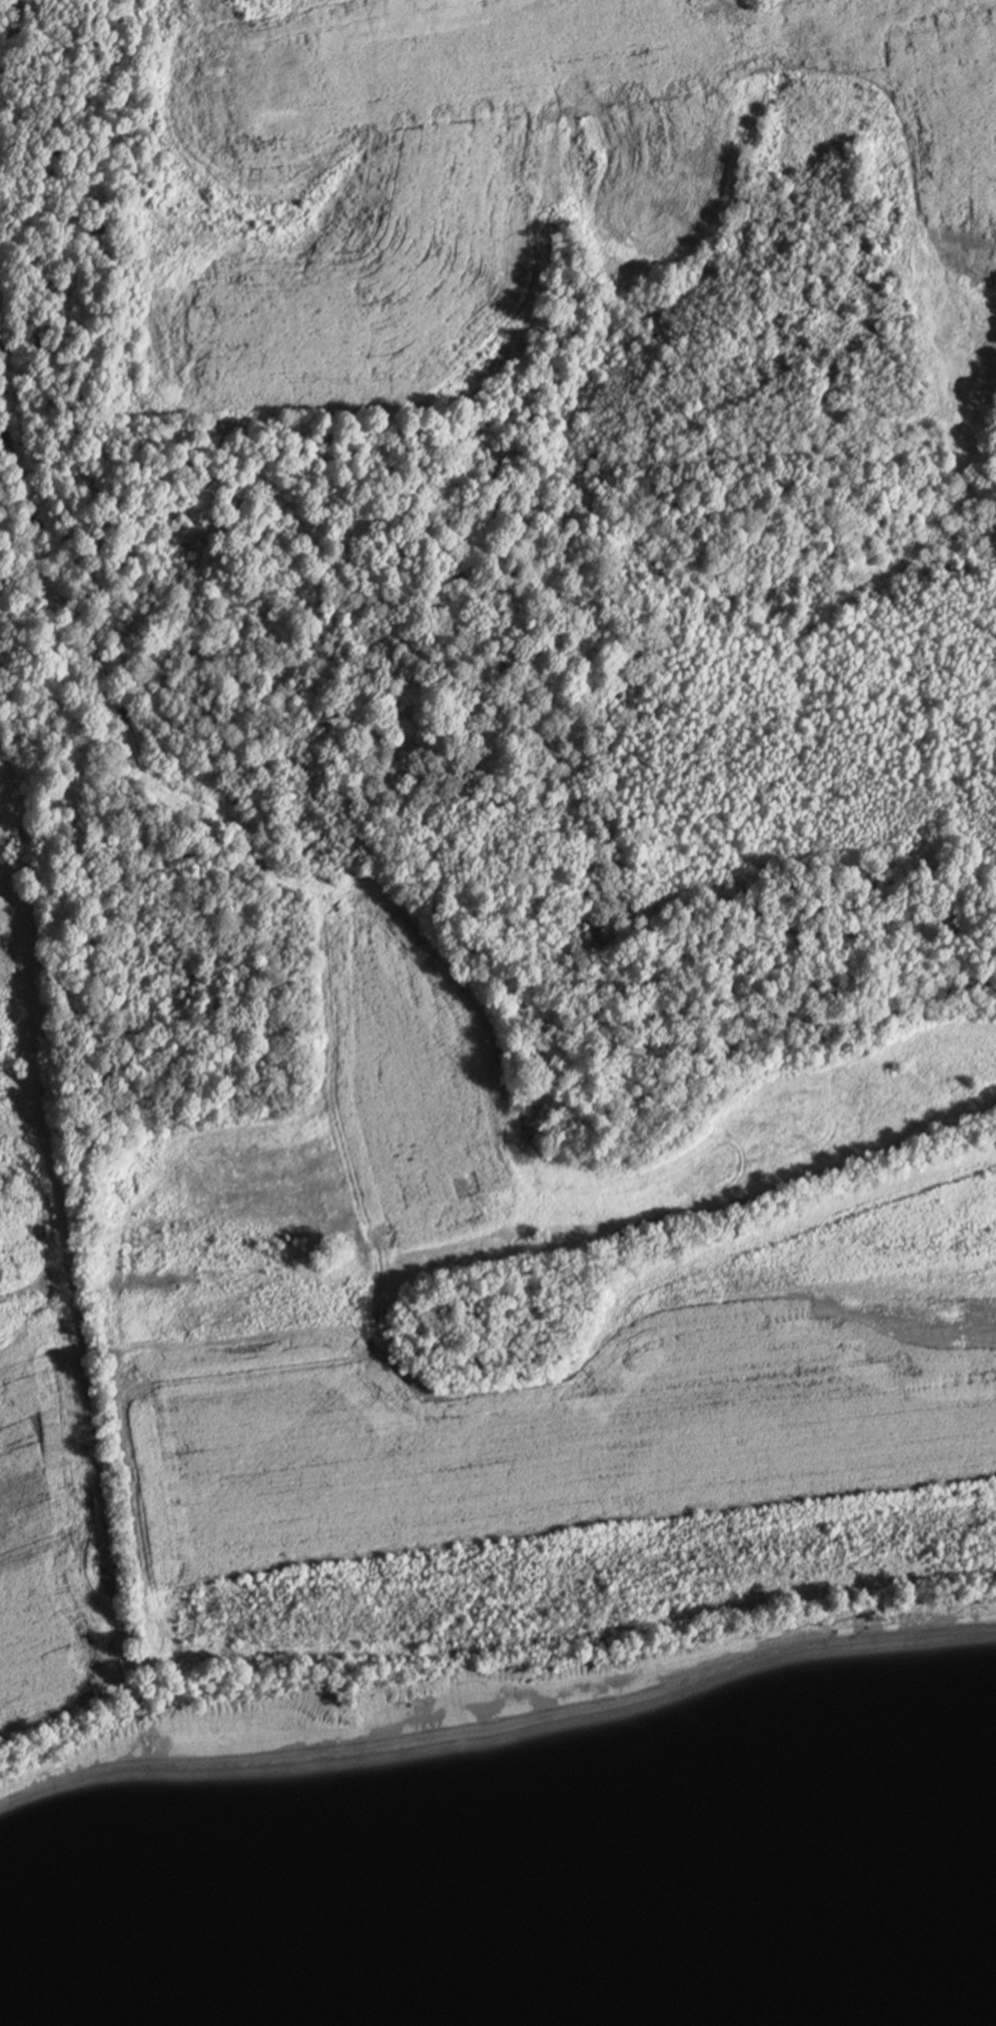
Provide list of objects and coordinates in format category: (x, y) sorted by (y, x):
river: (772, 1975)

